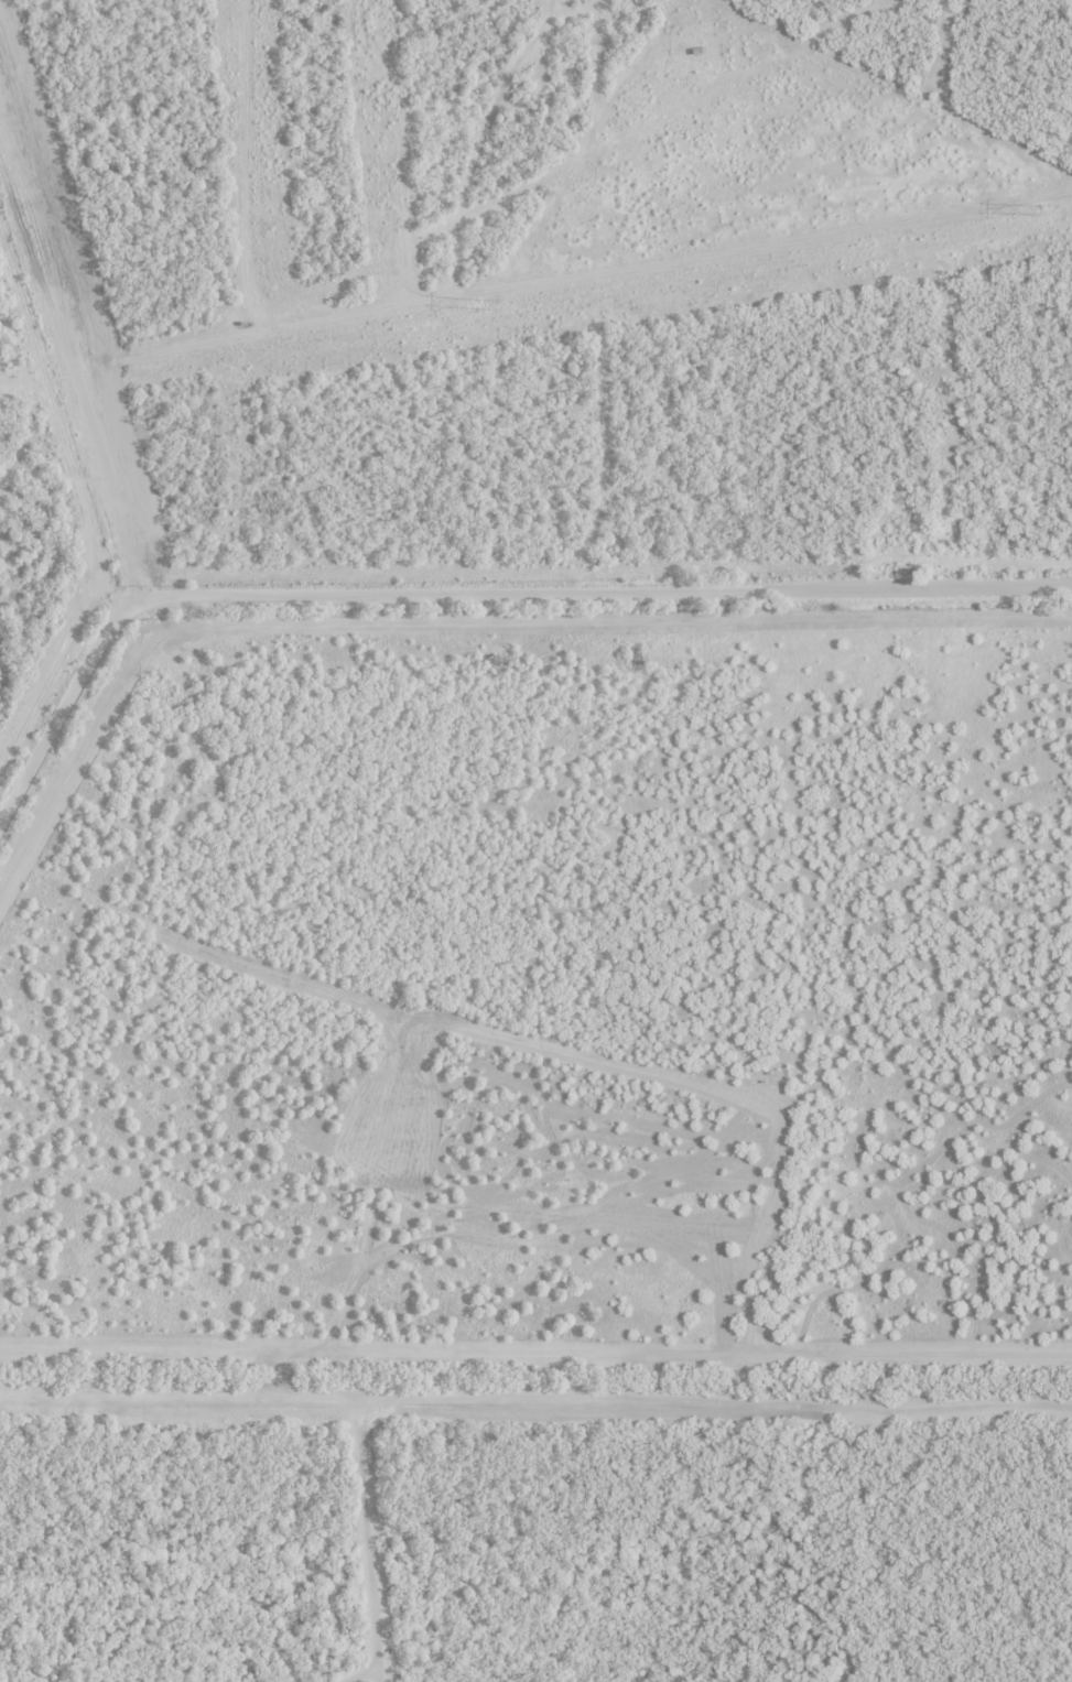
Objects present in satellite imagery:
power tower: (1042, 211)
power tower: (474, 304)
road: (473, 593)

